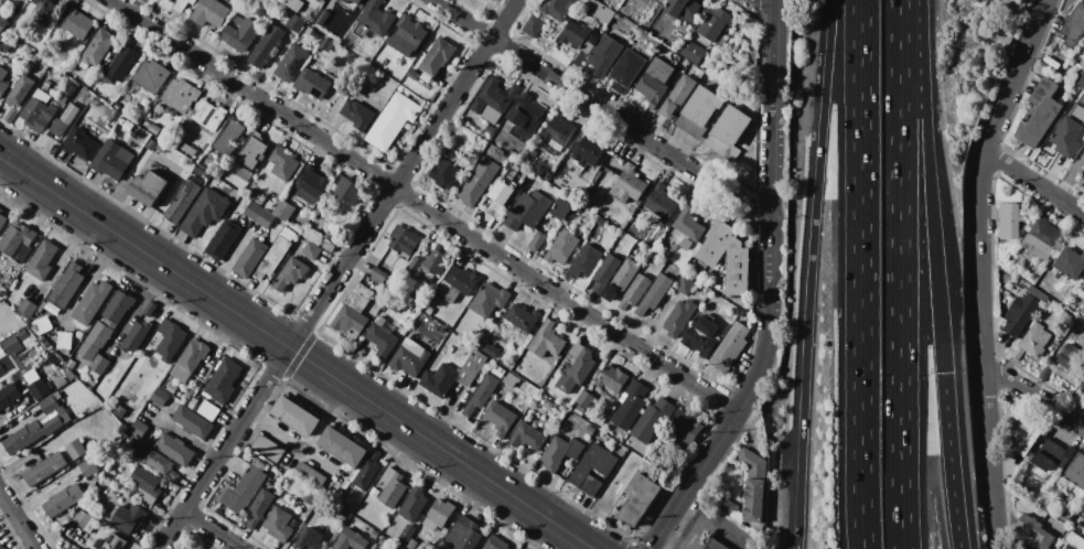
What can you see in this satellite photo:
building: (170, 0)
building: (171, 0)
building: (491, 0)
building: (663, 0)
building: (319, 1)
building: (346, 1)
building: (357, 1)
building: (1, 2)
road: (774, 2)
building: (182, 3)
building: (293, 4)
building: (559, 8)
building: (683, 9)
building: (599, 10)
building: (44, 11)
building: (210, 13)
building: (323, 17)
building: (377, 18)
road: (507, 19)
building: (2, 22)
building: (75, 23)
building: (296, 23)
building: (534, 25)
building: (716, 25)
building: (1074, 25)
building: (239, 33)
building: (407, 36)
building: (1, 37)
building: (580, 40)
building: (326, 44)
building: (266, 46)
building: (4, 47)
building: (97, 47)
building: (1083, 49)
building: (691, 51)
building: (1083, 52)
building: (438, 55)
building: (604, 55)
building: (351, 60)
building: (291, 63)
building: (119, 64)
building: (626, 68)
building: (412, 74)
road: (1011, 74)
building: (151, 76)
building: (1081, 79)
building: (2, 82)
building: (654, 82)
building: (312, 84)
building: (46, 85)
building: (21, 90)
building: (67, 90)
building: (1081, 93)
building: (180, 95)
building: (678, 96)
building: (62, 100)
building: (494, 100)
road: (775, 105)
building: (116, 106)
road: (604, 106)
building: (158, 109)
building: (37, 111)
building: (698, 111)
building: (99, 114)
building: (357, 114)
building: (527, 114)
building: (207, 115)
building: (1040, 115)
building: (64, 120)
building: (393, 121)
building: (146, 123)
building: (128, 125)
building: (486, 126)
building: (153, 129)
building: (558, 132)
building: (728, 132)
building: (162, 133)
building: (95, 134)
building: (229, 137)
building: (1067, 138)
building: (81, 144)
building: (151, 144)
building: (187, 149)
building: (253, 151)
building: (588, 151)
building: (532, 154)
building: (453, 155)
building: (111, 161)
building: (283, 163)
building: (1083, 163)
building: (198, 171)
building: (443, 173)
building: (244, 174)
building: (546, 175)
building: (479, 181)
road: (1033, 182)
building: (311, 184)
building: (629, 185)
road: (929, 186)
building: (148, 187)
building: (348, 190)
building: (502, 194)
building: (256, 197)
building: (184, 200)
building: (661, 203)
road: (426, 206)
building: (562, 207)
building: (632, 208)
building: (528, 209)
building: (254, 211)
building: (283, 211)
building: (204, 212)
building: (266, 218)
building: (2, 219)
building: (1011, 220)
building: (601, 222)
building: (688, 224)
building: (288, 234)
building: (329, 235)
building: (17, 238)
building: (223, 239)
building: (404, 239)
building: (1042, 239)
building: (537, 240)
building: (685, 244)
building: (329, 247)
building: (562, 247)
building: (659, 248)
building: (311, 250)
building: (672, 250)
building: (728, 256)
building: (250, 258)
building: (272, 258)
building: (42, 260)
building: (434, 261)
building: (584, 261)
building: (1071, 263)
building: (605, 272)
building: (291, 273)
building: (378, 273)
road: (814, 273)
road: (860, 274)
road: (899, 274)
building: (622, 279)
building: (460, 282)
building: (66, 286)
building: (685, 286)
building: (635, 291)
road: (325, 292)
building: (655, 293)
building: (1038, 293)
building: (359, 297)
building: (490, 300)
building: (92, 302)
building: (119, 306)
building: (28, 309)
building: (149, 309)
building: (428, 310)
building: (1082, 311)
building: (1020, 314)
building: (523, 317)
building: (679, 317)
building: (348, 320)
building: (42, 325)
road: (979, 327)
building: (1083, 334)
building: (136, 336)
building: (382, 336)
building: (700, 336)
building: (64, 340)
building: (170, 340)
building: (1035, 340)
building: (95, 341)
building: (547, 341)
building: (12, 346)
building: (730, 347)
building: (490, 349)
building: (577, 351)
road: (296, 354)
building: (410, 357)
building: (190, 359)
building: (1073, 359)
building: (100, 364)
building: (2, 370)
building: (577, 373)
building: (453, 375)
building: (613, 378)
building: (511, 379)
building: (223, 380)
building: (60, 381)
building: (51, 384)
building: (36, 385)
building: (1083, 386)
building: (528, 388)
road: (748, 392)
building: (9, 395)
building: (482, 395)
building: (160, 397)
road: (1032, 397)
building: (584, 399)
building: (547, 405)
building: (631, 405)
building: (204, 408)
building: (579, 410)
building: (120, 411)
building: (297, 416)
building: (501, 417)
building: (652, 419)
building: (192, 421)
building: (35, 428)
building: (139, 428)
building: (689, 429)
building: (590, 430)
building: (64, 432)
building: (527, 437)
building: (1026, 438)
building: (343, 446)
building: (174, 449)
building: (76, 450)
building: (268, 450)
building: (560, 453)
building: (1052, 455)
building: (245, 456)
road: (951, 461)
building: (160, 463)
building: (87, 466)
building: (45, 469)
building: (593, 469)
building: (1076, 470)
building: (367, 471)
building: (1037, 472)
building: (310, 476)
building: (147, 483)
building: (753, 484)
building: (345, 485)
building: (391, 487)
building: (244, 489)
building: (374, 492)
building: (308, 496)
building: (638, 498)
building: (63, 500)
building: (414, 504)
building: (728, 505)
building: (259, 507)
building: (441, 512)
building: (1065, 517)
building: (128, 518)
building: (311, 518)
road: (18, 519)
building: (84, 520)
building: (278, 524)
road: (991, 527)
road: (213, 529)
building: (1035, 532)
building: (374, 534)
building: (407, 534)
building: (464, 535)
building: (311, 539)
building: (351, 540)
building: (1073, 540)
building: (110, 542)
building: (384, 542)
building: (410, 543)
building: (495, 543)
road: (576, 545)
building: (715, 545)
building: (1, 547)
building: (397, 547)
building: (74, 548)
building: (186, 548)

